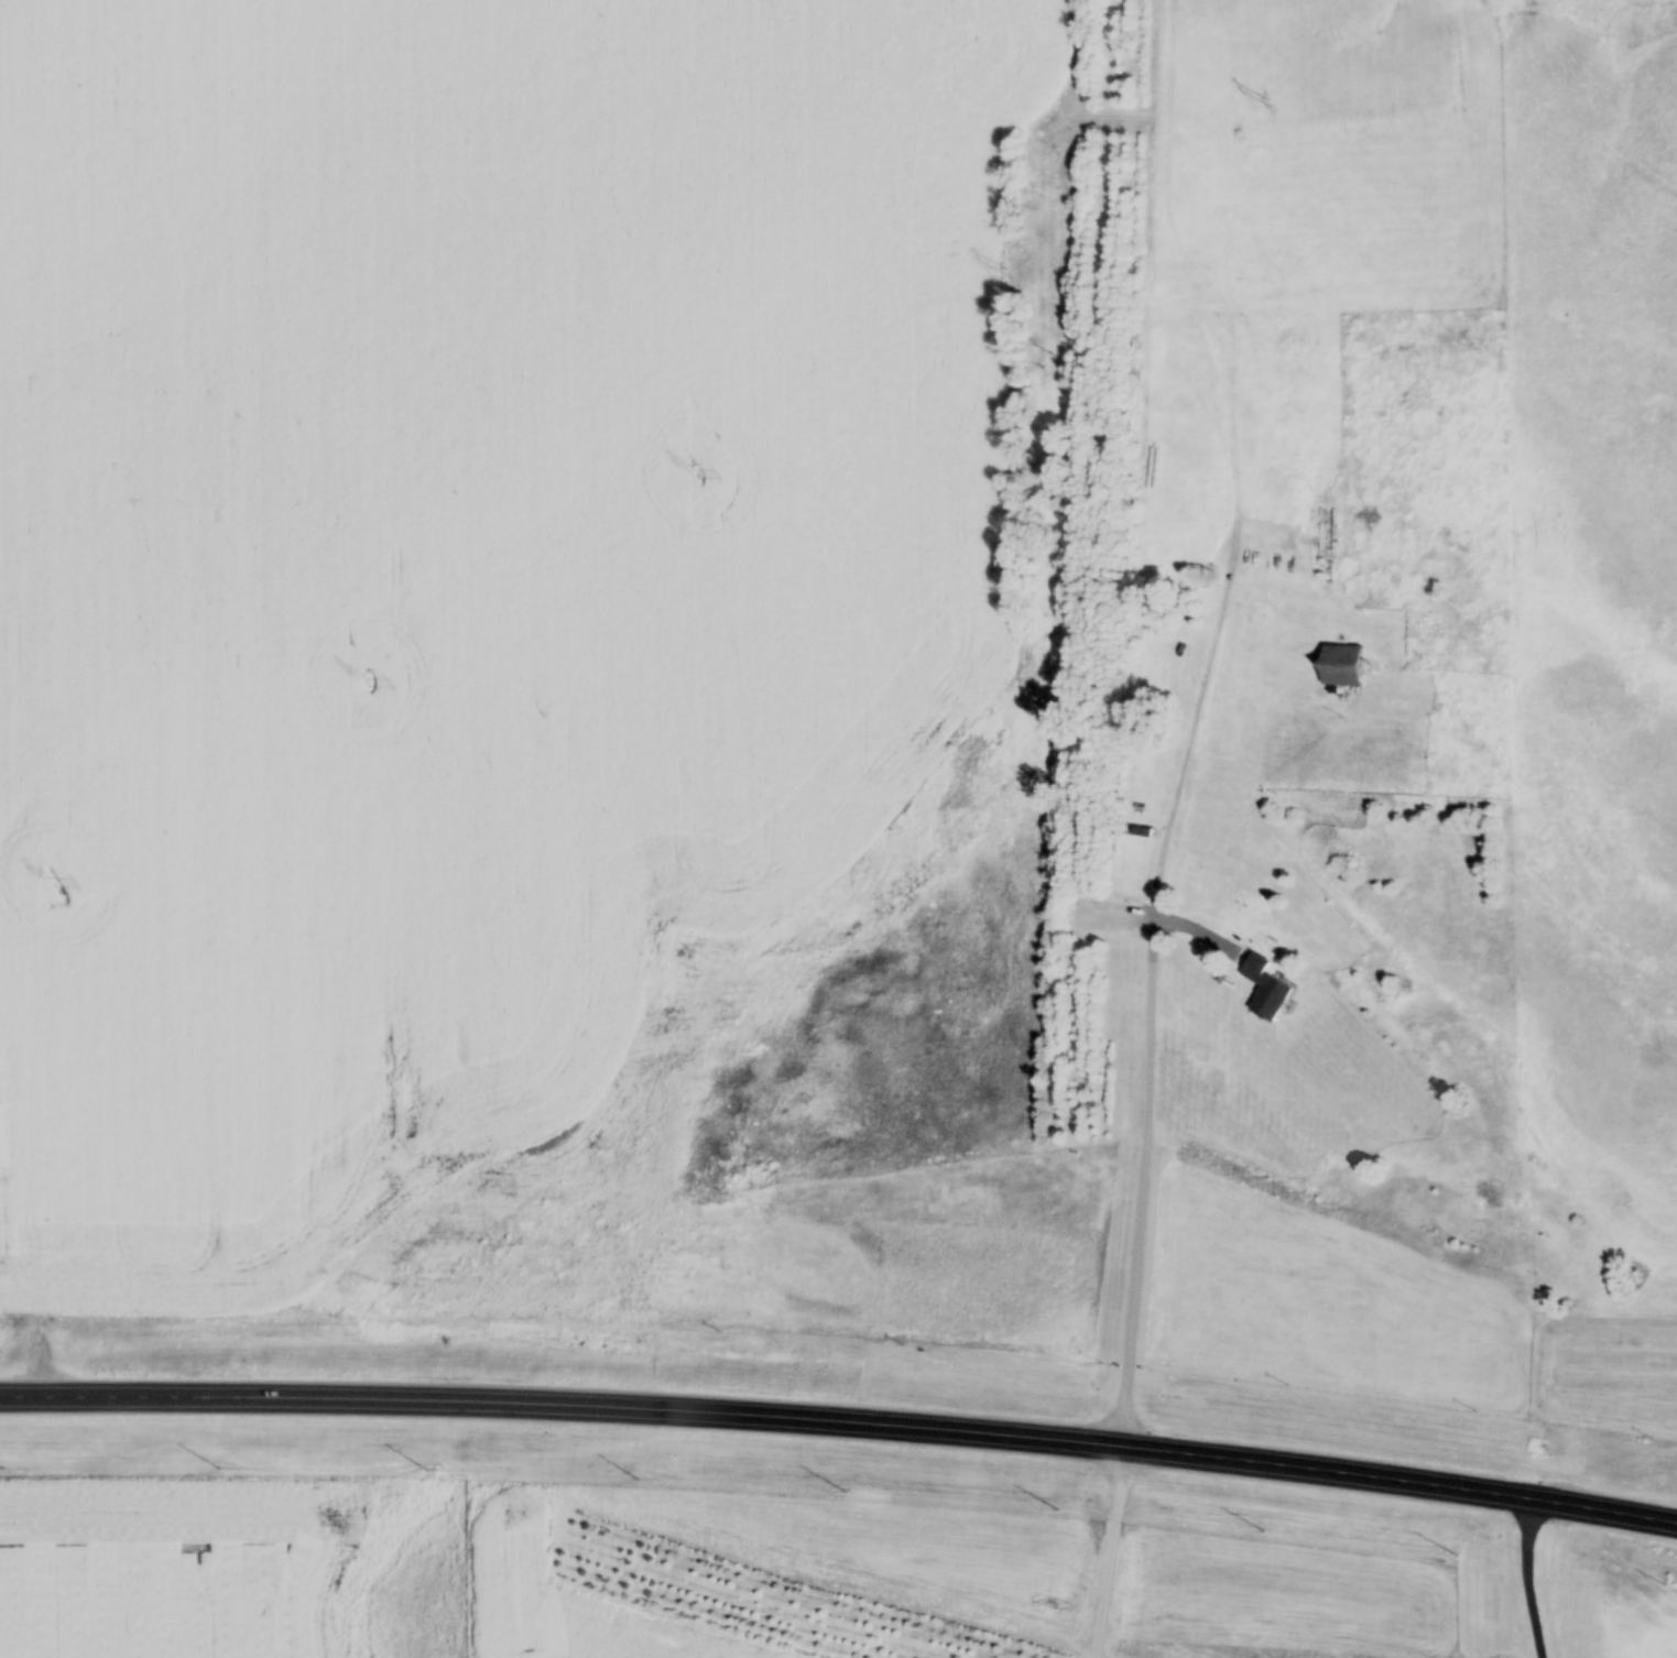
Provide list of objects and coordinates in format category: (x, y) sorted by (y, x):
power tower: (1267, 108)
power tower: (1006, 277)
power tower: (695, 478)
building: (1348, 668)
power tower: (364, 686)
building: (1145, 835)
road: (1165, 874)
power tower: (52, 887)
building: (1273, 992)
road: (213, 1399)
road: (1053, 1437)
crop: (176, 1570)
road: (1521, 1577)

